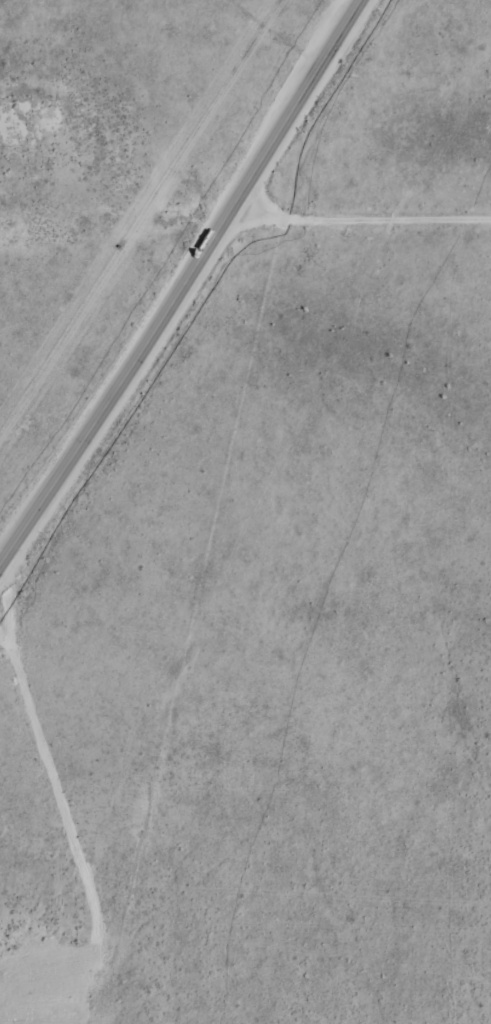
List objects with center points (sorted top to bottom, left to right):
road: (362, 212)
road: (185, 286)
road: (46, 805)

